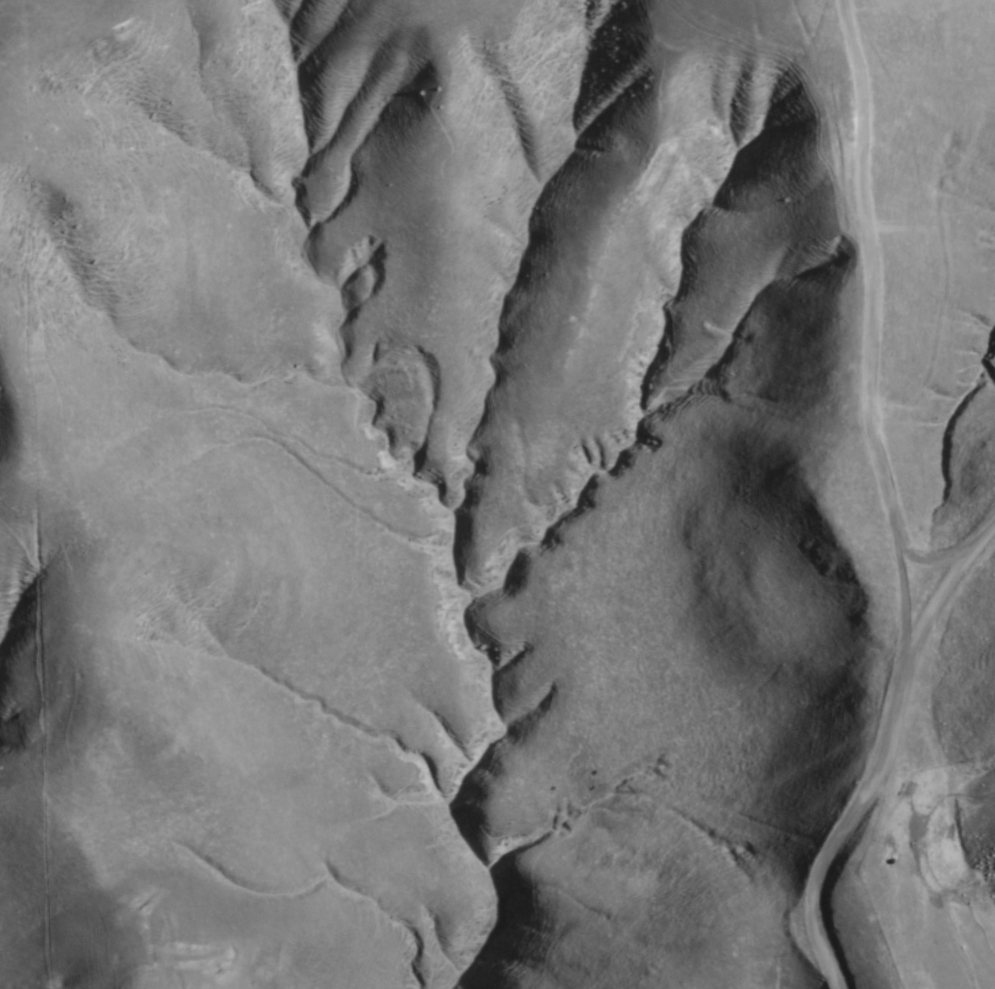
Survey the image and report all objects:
road: (893, 507)
road: (953, 548)

